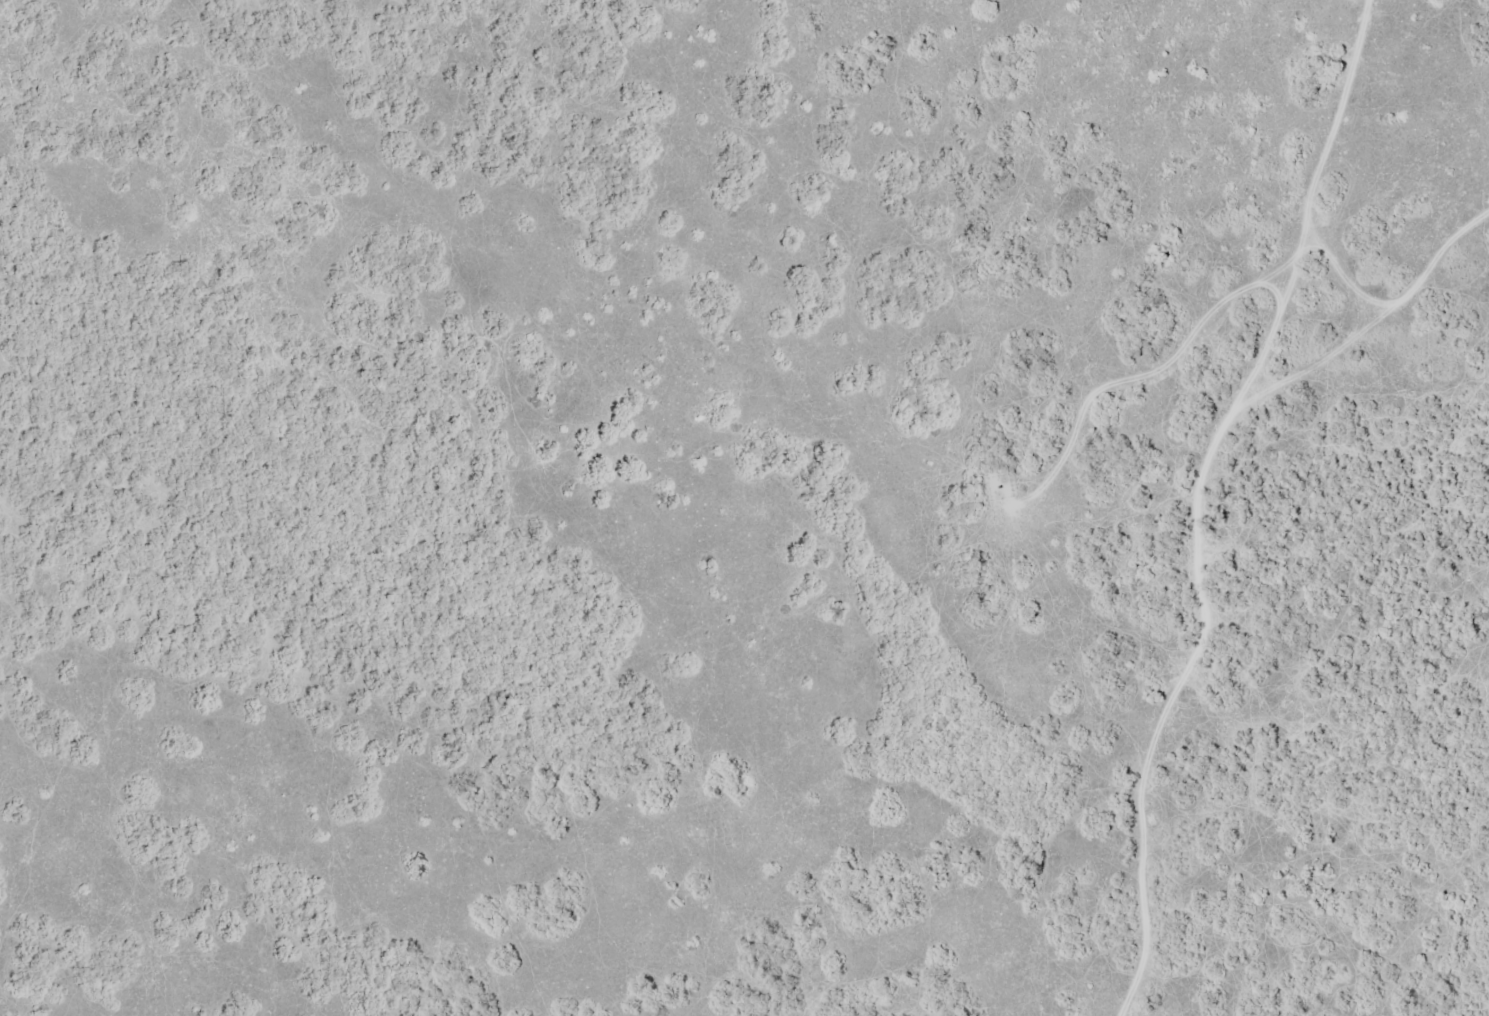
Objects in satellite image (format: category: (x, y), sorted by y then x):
road: (1323, 182)
road: (1209, 574)

